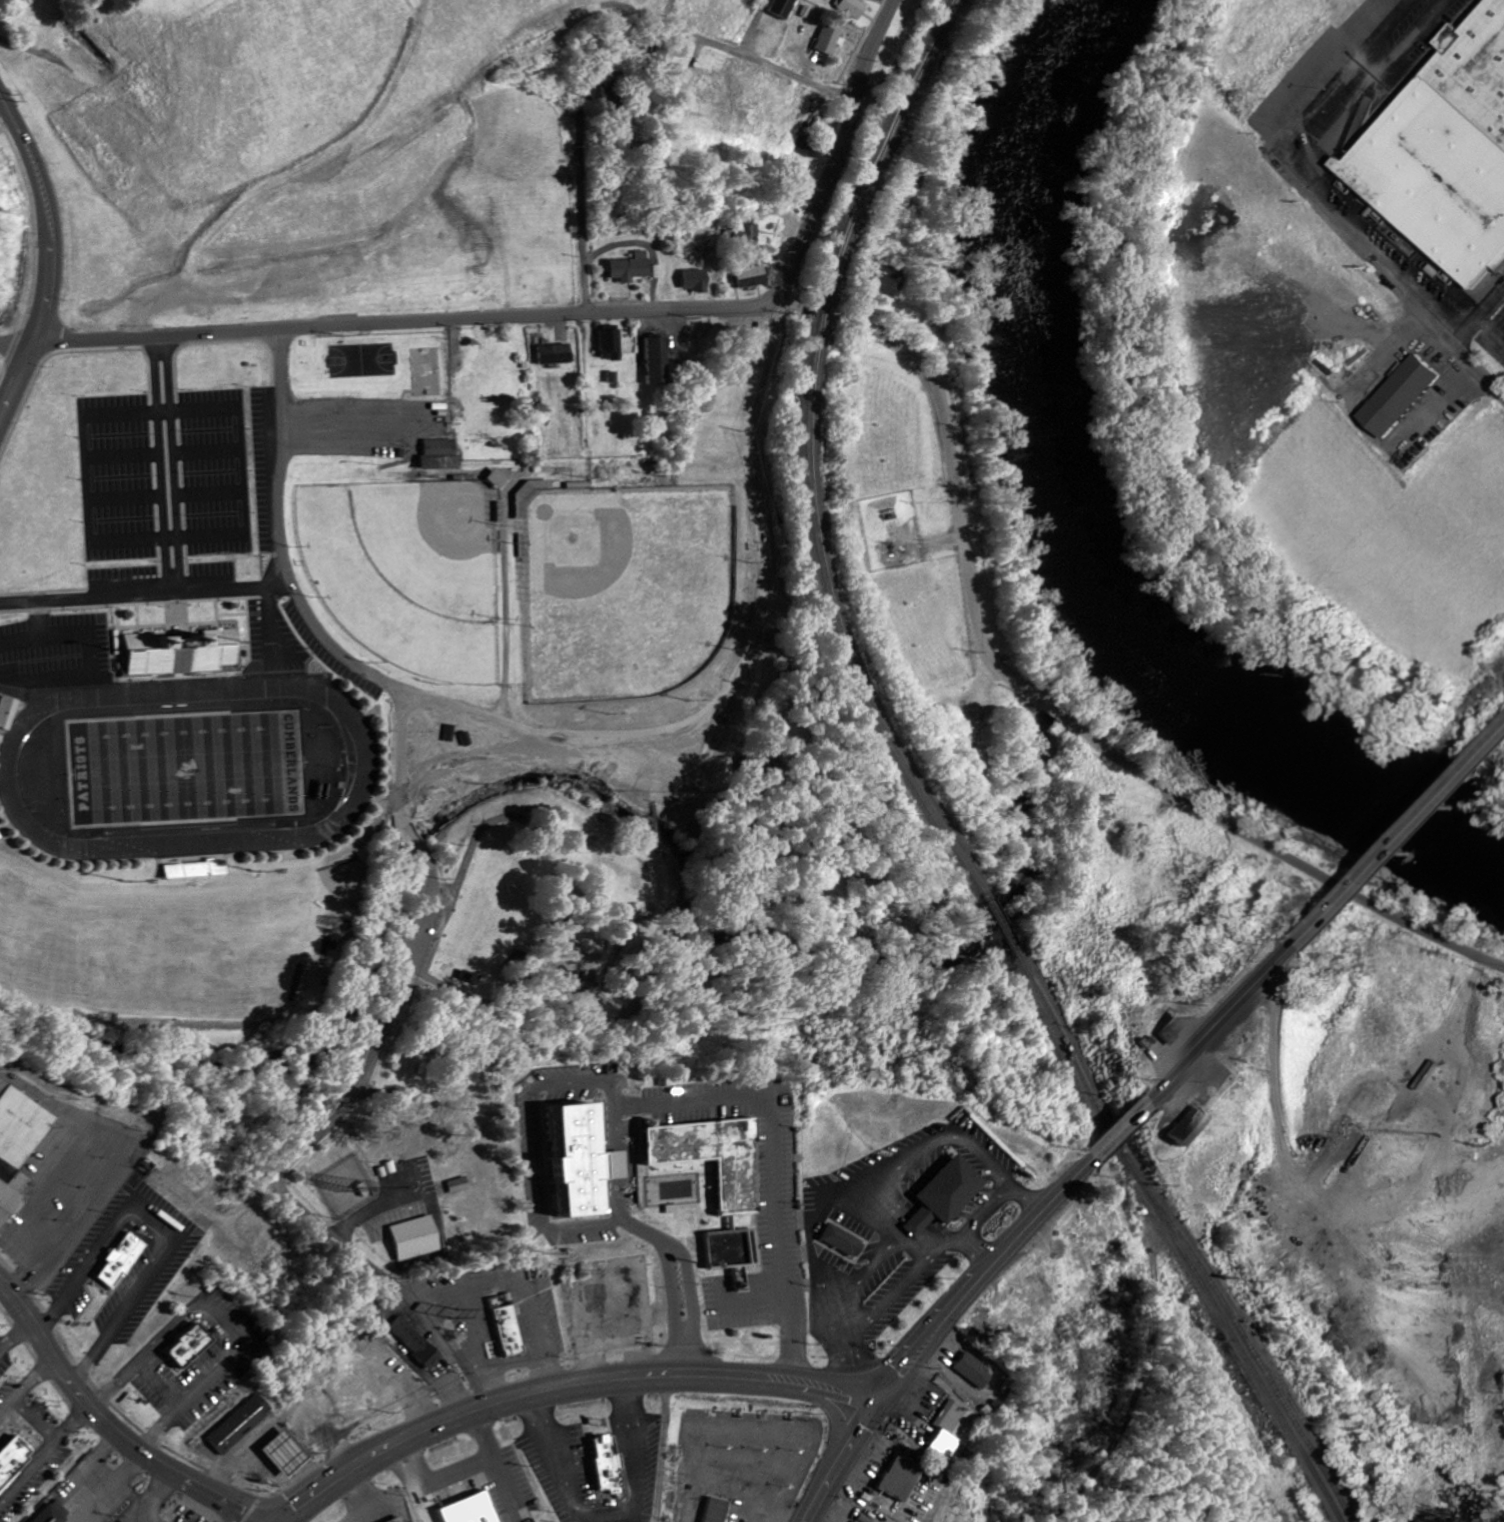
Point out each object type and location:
building: (781, 8)
building: (851, 8)
road: (642, 10)
road: (207, 26)
road: (755, 28)
building: (829, 40)
road: (749, 58)
building: (602, 85)
building: (812, 149)
railway: (881, 149)
road: (844, 156)
building: (1450, 160)
road: (1328, 198)
road: (585, 207)
road: (58, 215)
building: (750, 235)
building: (631, 268)
building: (657, 272)
building: (753, 277)
building: (696, 280)
building: (889, 281)
railway: (823, 311)
road: (1482, 319)
road: (424, 323)
building: (611, 344)
road: (8, 348)
road: (25, 348)
building: (556, 354)
park: (362, 361)
building: (658, 361)
park: (428, 374)
building: (613, 378)
road: (16, 379)
building: (1408, 396)
building: (441, 455)
river: (1069, 532)
road: (160, 549)
park: (407, 574)
road: (231, 591)
park: (628, 591)
building: (181, 650)
road: (412, 704)
building: (8, 712)
road: (1056, 717)
road: (562, 735)
track: (186, 766)
park: (185, 767)
park: (792, 796)
road: (1401, 838)
park: (577, 941)
railway: (1003, 943)
road: (423, 951)
road: (679, 952)
road: (703, 986)
road: (754, 1019)
road: (1223, 1021)
building: (1170, 1027)
road: (355, 1090)
road: (607, 1105)
building: (1190, 1123)
road: (1119, 1128)
building: (19, 1150)
building: (583, 1163)
building: (710, 1184)
building: (464, 1186)
building: (945, 1196)
road: (60, 1236)
building: (420, 1239)
building: (843, 1241)
building: (119, 1263)
road: (978, 1277)
building: (1037, 1288)
road: (226, 1321)
building: (508, 1329)
road: (14, 1334)
building: (417, 1343)
road: (47, 1344)
building: (194, 1349)
building: (971, 1372)
road: (35, 1378)
road: (115, 1383)
road: (160, 1385)
road: (561, 1391)
road: (6, 1404)
road: (35, 1419)
road: (76, 1422)
building: (241, 1425)
road: (164, 1427)
building: (947, 1431)
road: (659, 1450)
building: (287, 1454)
road: (837, 1462)
building: (605, 1465)
building: (14, 1466)
road: (176, 1468)
road: (29, 1473)
building: (897, 1478)
road: (408, 1481)
building: (470, 1510)
building: (717, 1511)
building: (55, 1515)
road: (610, 1515)
building: (399, 1520)

